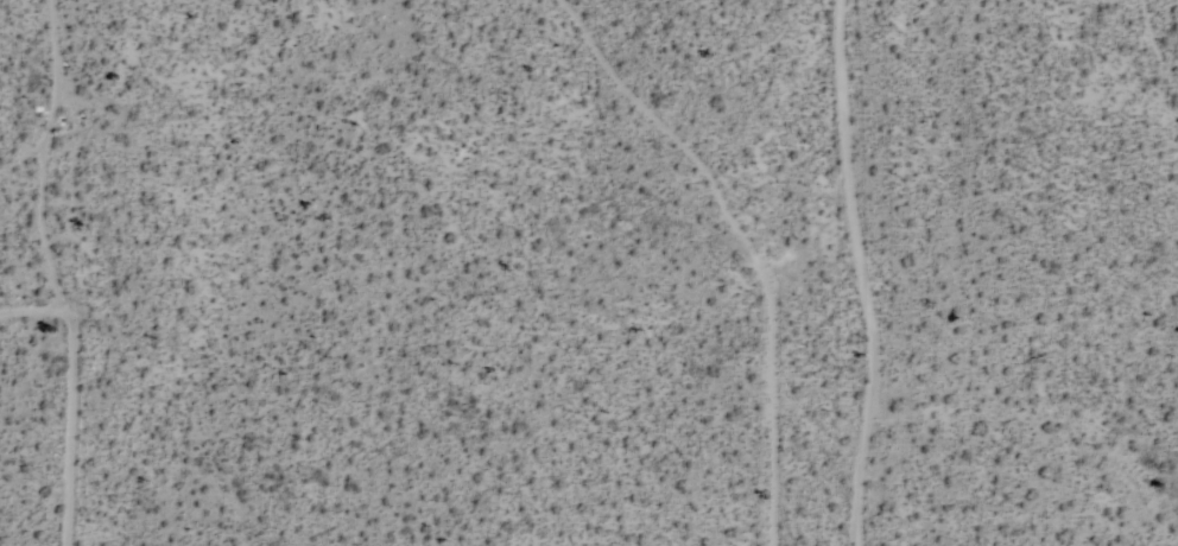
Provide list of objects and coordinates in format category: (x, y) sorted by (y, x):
road: (589, 489)

